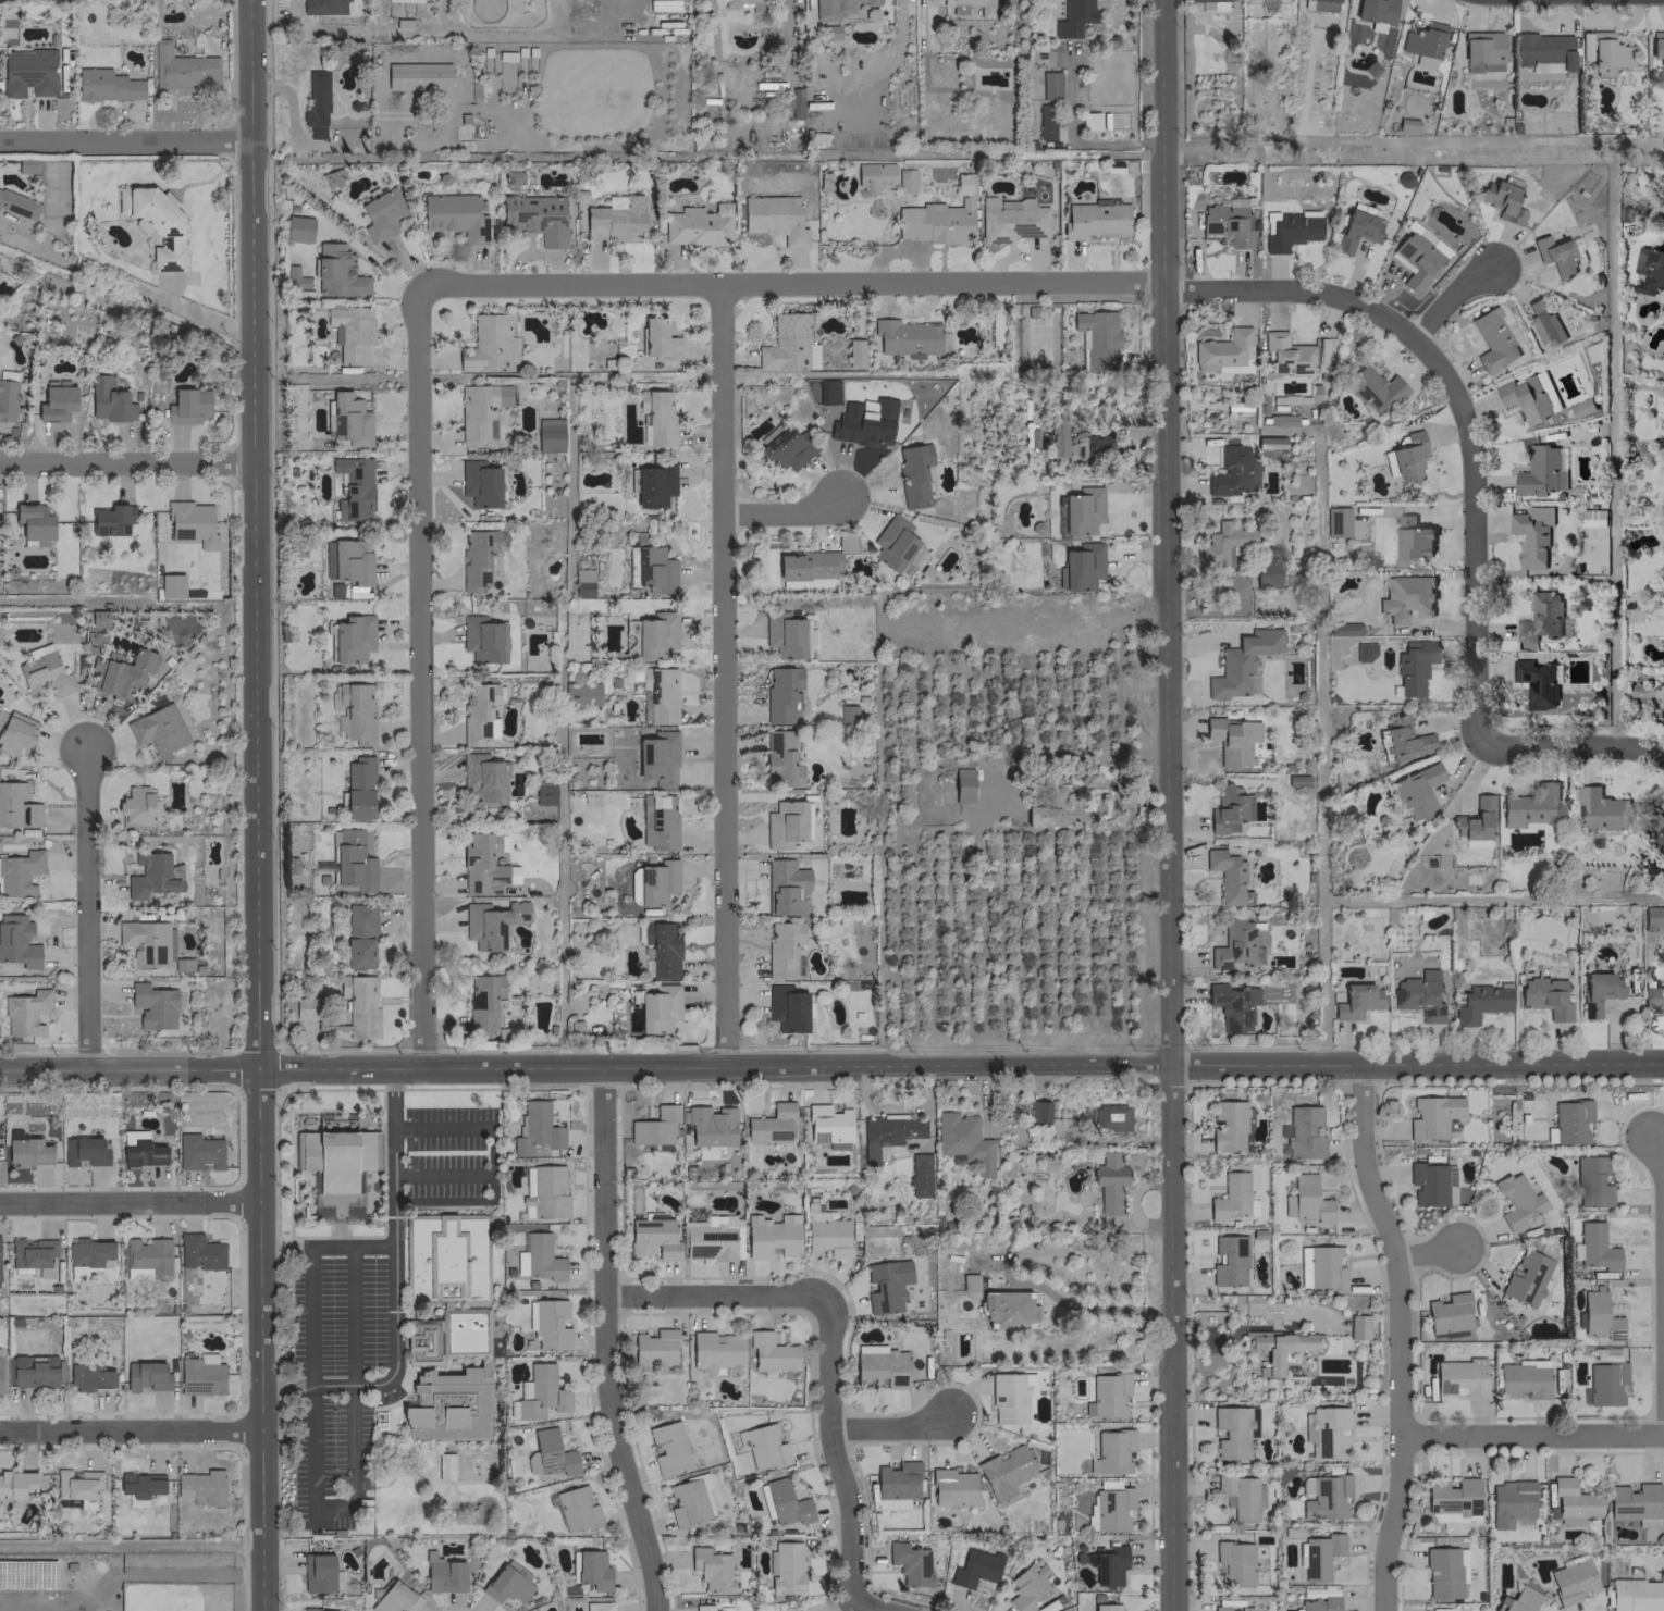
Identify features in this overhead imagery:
building: (405, 0)
building: (1210, 0)
building: (1320, 4)
building: (729, 5)
building: (309, 7)
building: (836, 8)
building: (958, 10)
building: (1376, 13)
building: (1073, 17)
building: (830, 32)
building: (1423, 44)
building: (1657, 46)
building: (1482, 49)
building: (1542, 49)
building: (1607, 53)
building: (182, 69)
building: (28, 72)
building: (418, 76)
building: (106, 85)
building: (1050, 85)
building: (316, 103)
building: (794, 108)
building: (1089, 121)
building: (1046, 122)
building: (1407, 125)
building: (466, 128)
road: (125, 139)
building: (26, 165)
building: (332, 176)
building: (874, 176)
building: (903, 179)
building: (1499, 195)
building: (17, 205)
building: (383, 213)
building: (454, 216)
building: (534, 218)
building: (774, 218)
building: (939, 218)
building: (1515, 218)
building: (615, 219)
building: (1011, 219)
building: (1095, 220)
building: (1225, 222)
building: (155, 224)
building: (698, 225)
building: (298, 228)
building: (1290, 228)
building: (1358, 228)
building: (1555, 255)
building: (1417, 260)
building: (1649, 270)
building: (337, 272)
building: (295, 277)
road: (921, 284)
road: (131, 286)
road: (1452, 297)
building: (1543, 322)
building: (350, 333)
building: (1096, 337)
building: (911, 338)
building: (1492, 340)
building: (486, 344)
building: (788, 344)
building: (513, 348)
building: (854, 352)
building: (1223, 352)
building: (1290, 356)
building: (1373, 388)
building: (7, 396)
building: (1528, 398)
building: (107, 399)
building: (57, 401)
building: (187, 405)
building: (1581, 407)
building: (480, 411)
building: (657, 418)
building: (1281, 420)
building: (864, 423)
building: (548, 434)
building: (1057, 437)
building: (1028, 438)
building: (1269, 442)
building: (1094, 445)
building: (788, 449)
building: (1405, 457)
road: (124, 460)
building: (1542, 470)
building: (1233, 472)
building: (913, 474)
building: (479, 483)
building: (654, 484)
building: (353, 487)
building: (1082, 510)
road: (784, 512)
building: (1592, 518)
building: (111, 519)
building: (1336, 521)
building: (190, 523)
building: (34, 524)
road: (1166, 531)
road: (1475, 531)
building: (1532, 534)
building: (1413, 538)
building: (893, 543)
building: (1224, 544)
building: (477, 558)
building: (812, 561)
building: (349, 562)
building: (1080, 567)
building: (651, 569)
building: (1266, 575)
building: (582, 582)
road: (1242, 597)
building: (1405, 597)
building: (1540, 618)
building: (1343, 629)
building: (656, 633)
building: (784, 634)
building: (353, 637)
building: (480, 639)
building: (1343, 647)
building: (1242, 664)
building: (1414, 666)
building: (44, 672)
road: (722, 674)
building: (120, 676)
road: (418, 678)
building: (1538, 682)
building: (580, 693)
building: (780, 693)
building: (356, 710)
building: (477, 710)
building: (847, 714)
building: (158, 729)
building: (16, 733)
building: (1233, 739)
building: (1404, 739)
road: (1573, 740)
building: (780, 758)
building: (481, 777)
building: (1297, 780)
building: (962, 785)
building: (358, 788)
building: (1415, 791)
building: (544, 794)
building: (135, 805)
road: (254, 805)
building: (1533, 805)
building: (17, 806)
building: (1600, 809)
building: (1053, 810)
building: (1225, 810)
building: (657, 822)
building: (784, 823)
building: (1475, 823)
building: (1659, 838)
building: (352, 862)
building: (481, 865)
building: (20, 872)
building: (151, 875)
building: (1227, 876)
building: (656, 882)
building: (785, 887)
road: (84, 907)
building: (491, 922)
building: (359, 934)
building: (17, 941)
building: (146, 942)
building: (1233, 944)
building: (662, 947)
building: (784, 949)
building: (1599, 991)
building: (1420, 995)
building: (1545, 996)
building: (483, 1001)
building: (1357, 1001)
building: (1481, 1003)
building: (359, 1004)
building: (1232, 1005)
building: (152, 1006)
building: (306, 1008)
building: (658, 1008)
building: (786, 1008)
building: (26, 1013)
building: (575, 1027)
road: (960, 1064)
road: (127, 1068)
building: (1038, 1113)
building: (1433, 1117)
building: (1110, 1118)
building: (1570, 1121)
building: (771, 1125)
building: (1230, 1125)
building: (656, 1126)
building: (828, 1126)
building: (537, 1129)
building: (708, 1129)
building: (1304, 1132)
building: (887, 1135)
building: (963, 1141)
road: (385, 1150)
building: (27, 1151)
building: (83, 1151)
parking lot: (448, 1151)
road: (490, 1151)
building: (141, 1152)
building: (198, 1152)
building: (337, 1160)
building: (919, 1175)
building: (1591, 1181)
building: (1109, 1182)
building: (1431, 1184)
building: (1232, 1198)
building: (1309, 1200)
building: (1517, 1201)
road: (128, 1202)
road: (337, 1211)
building: (352, 1212)
building: (321, 1213)
road: (394, 1224)
building: (826, 1234)
road: (337, 1235)
building: (771, 1237)
building: (653, 1238)
building: (708, 1241)
building: (1594, 1248)
road: (1426, 1250)
building: (30, 1252)
building: (199, 1252)
building: (146, 1256)
building: (539, 1257)
building: (446, 1259)
building: (1228, 1261)
building: (1303, 1266)
building: (1324, 1267)
building: (1526, 1277)
road: (1662, 1279)
building: (969, 1282)
building: (886, 1285)
road: (716, 1297)
road: (1094, 1306)
road: (1261, 1308)
building: (1006, 1310)
building: (1447, 1313)
building: (1598, 1316)
building: (550, 1324)
building: (1357, 1326)
road: (1394, 1335)
building: (448, 1337)
road: (1171, 1337)
road: (605, 1342)
building: (654, 1348)
building: (1278, 1348)
building: (716, 1350)
building: (771, 1352)
building: (879, 1367)
building: (32, 1371)
parking lot: (340, 1371)
building: (200, 1375)
building: (147, 1376)
road: (390, 1376)
building: (88, 1377)
building: (1459, 1378)
building: (1607, 1378)
building: (1524, 1379)
building: (540, 1392)
building: (1107, 1395)
building: (1008, 1398)
building: (449, 1405)
road: (890, 1427)
road: (130, 1430)
building: (1233, 1430)
building: (1328, 1433)
road: (1530, 1434)
building: (764, 1447)
building: (668, 1448)
building: (1112, 1452)
building: (552, 1453)
building: (444, 1466)
road: (837, 1470)
building: (1003, 1472)
building: (15, 1484)
building: (76, 1484)
building: (896, 1485)
building: (140, 1486)
building: (201, 1486)
building: (951, 1487)
building: (1305, 1487)
building: (1241, 1495)
building: (1327, 1497)
building: (690, 1500)
building: (1573, 1501)
building: (786, 1503)
building: (1635, 1503)
building: (576, 1509)
building: (1111, 1509)
road: (333, 1510)
building: (1320, 1554)
building: (909, 1563)
building: (1233, 1563)
building: (1107, 1564)
building: (974, 1567)
building: (711, 1569)
building: (786, 1569)
building: (590, 1570)
road: (184, 1573)
building: (1442, 1573)
building: (320, 1574)
building: (443, 1574)
building: (1571, 1582)
building: (505, 1585)
building: (1026, 1586)
building: (1635, 1595)
building: (394, 1598)
building: (1518, 1600)
building: (1320, 1603)
building: (599, 1606)
building: (1106, 1607)
building: (703, 1608)
building: (1220, 1608)
building: (319, 1609)
building: (1254, 1610)

